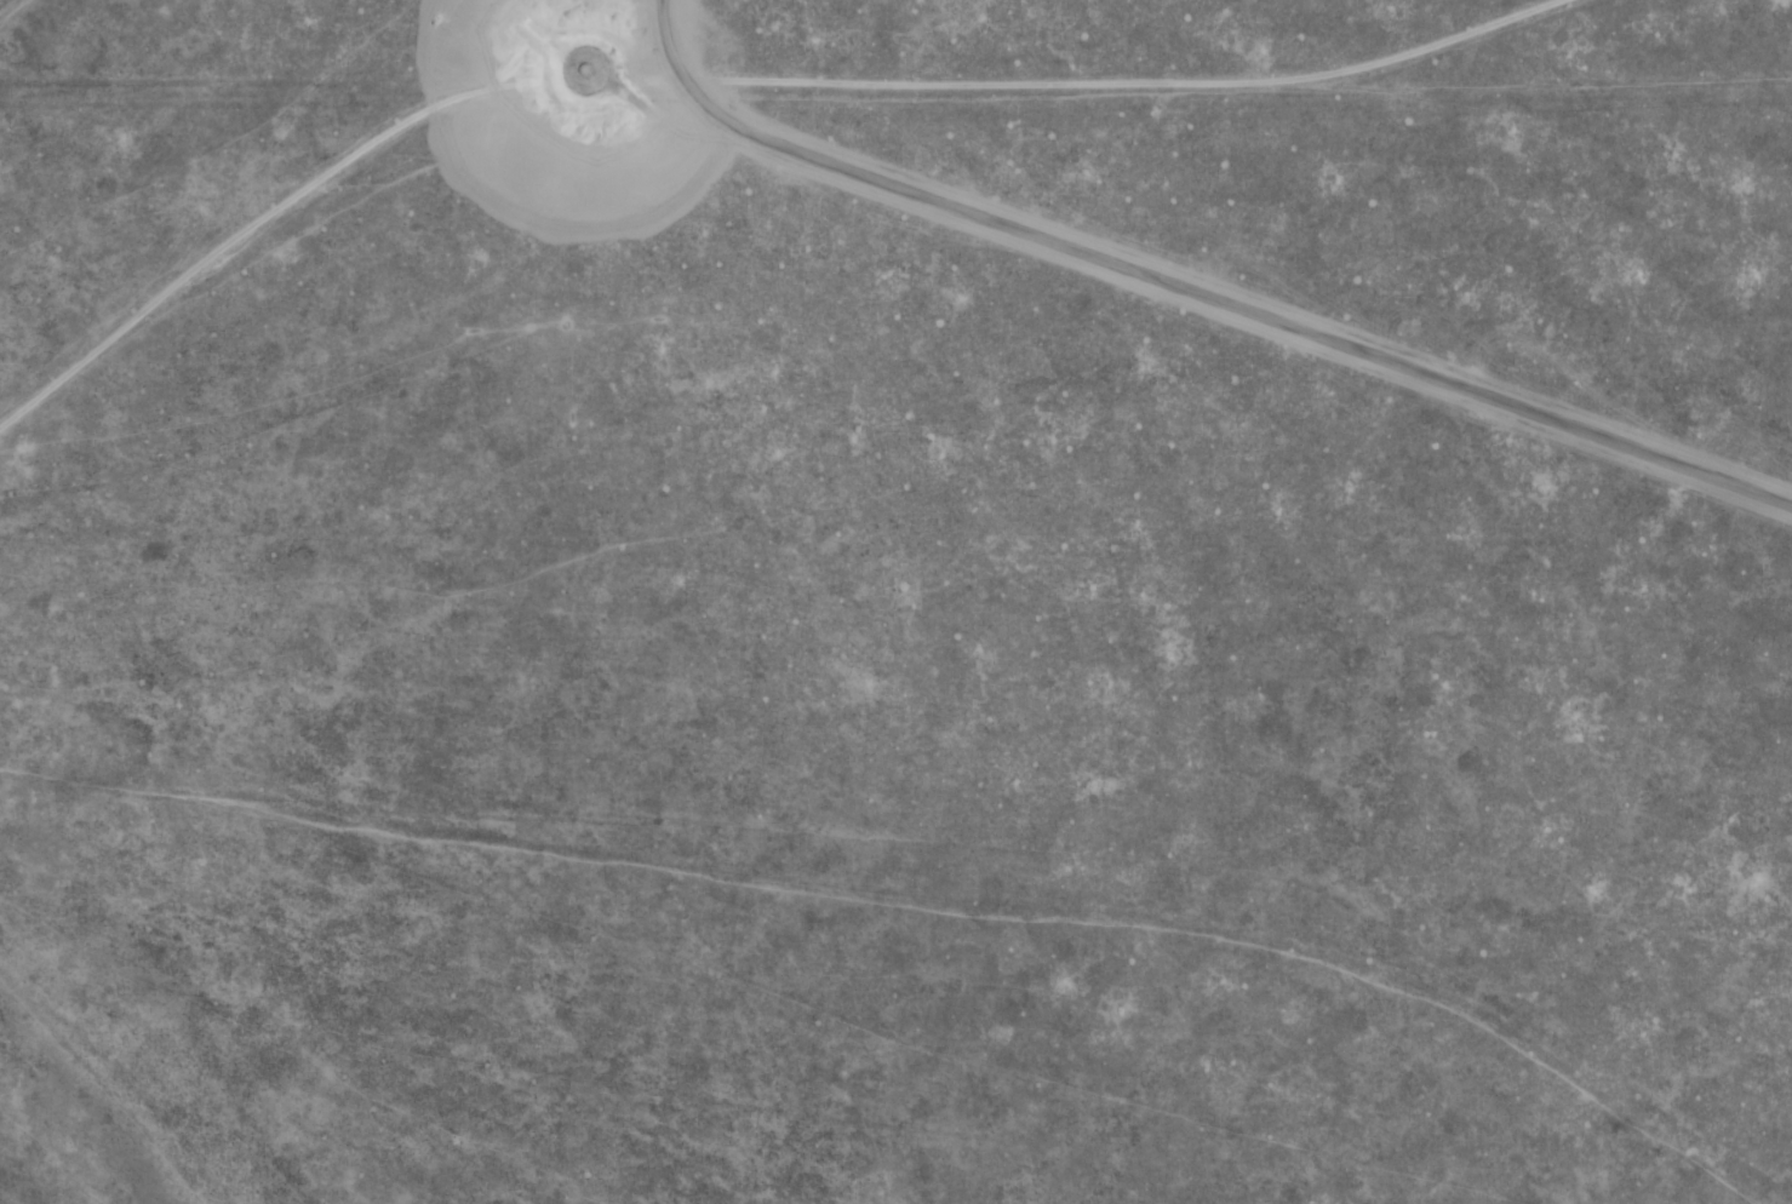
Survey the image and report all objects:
wind turbine: (561, 76)

